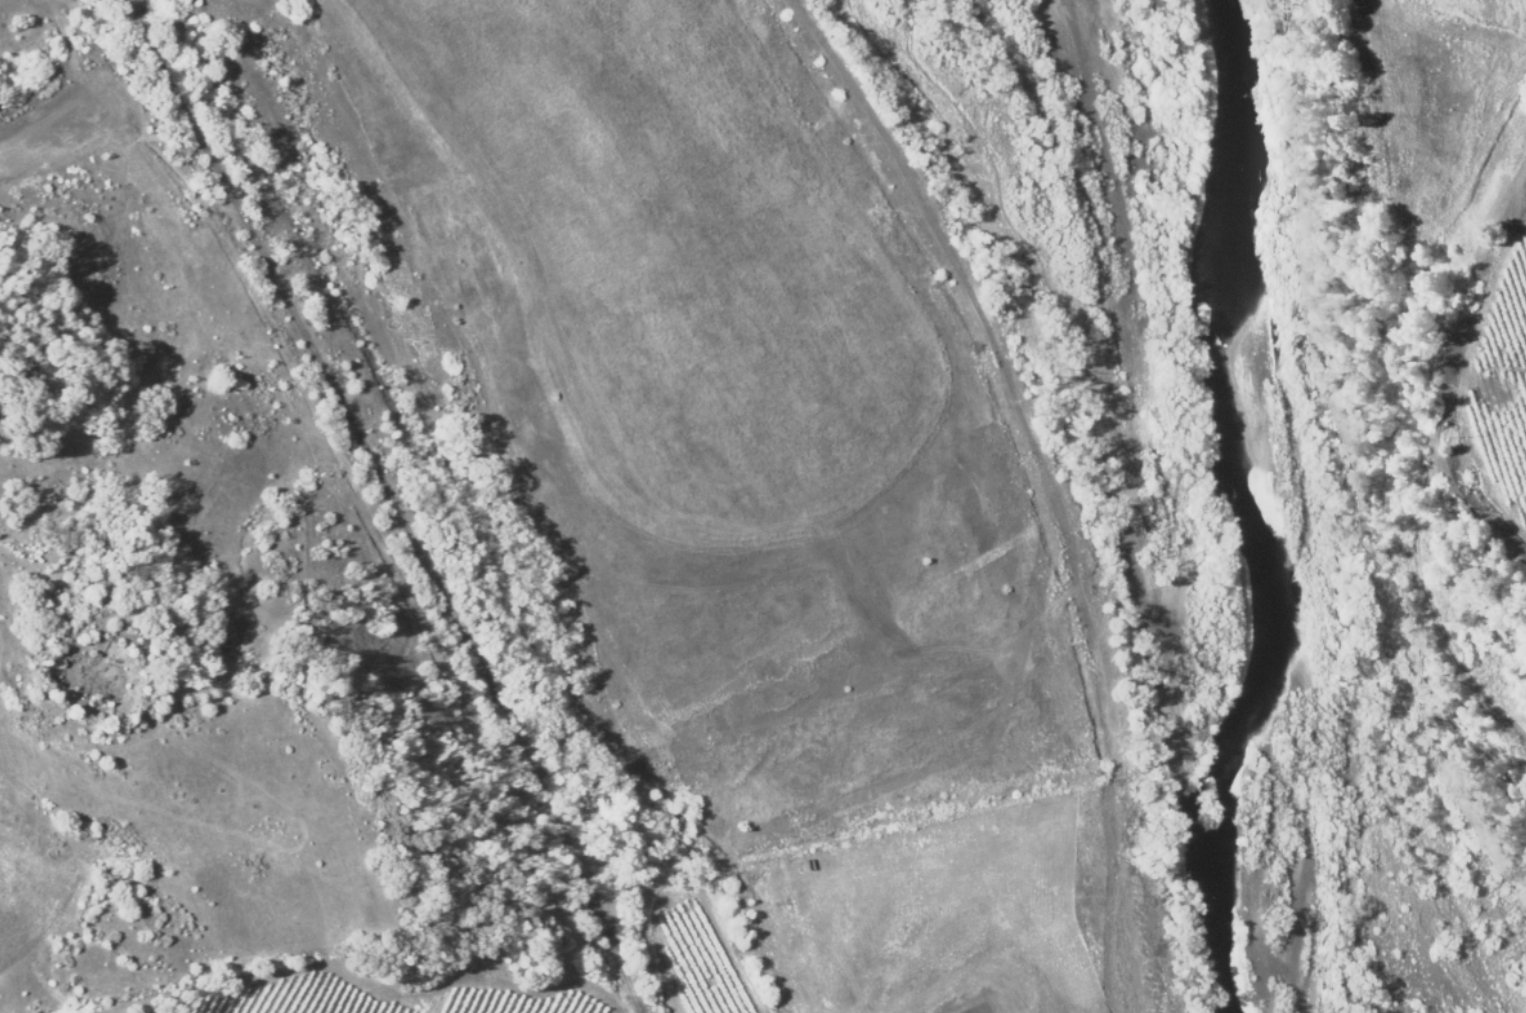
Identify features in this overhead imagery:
railway: (309, 341)
river: (1282, 503)
road: (1102, 588)
road: (810, 810)
railway: (570, 846)
road: (1110, 878)
airport: (964, 907)
airport runway: (978, 1011)

